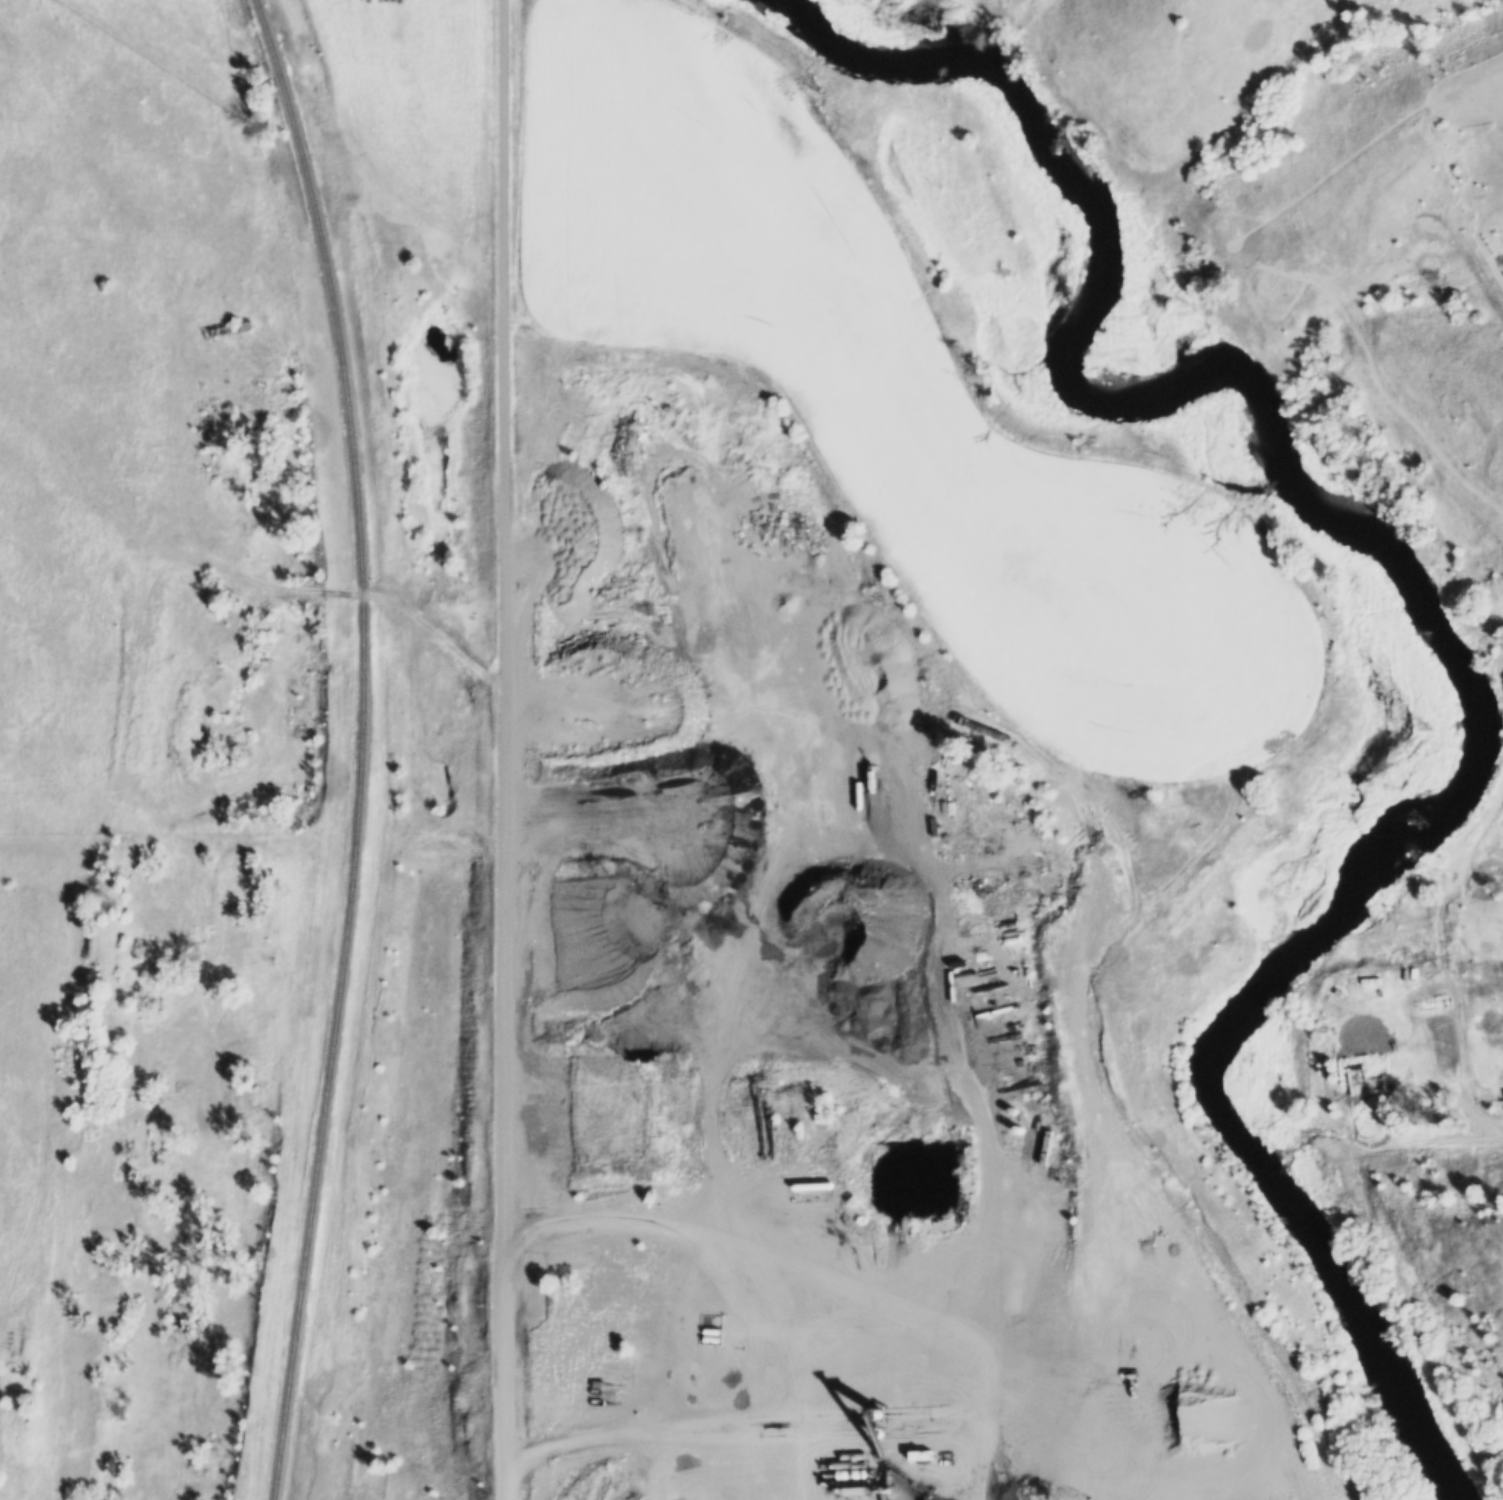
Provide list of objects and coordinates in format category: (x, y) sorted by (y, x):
building: (230, 331)
river: (1419, 618)
railway: (352, 749)
road: (503, 750)
road: (655, 983)
quarry: (842, 1071)
road: (990, 1098)
road: (1427, 1136)
road: (788, 1220)
road: (1074, 1268)
building: (710, 1334)

